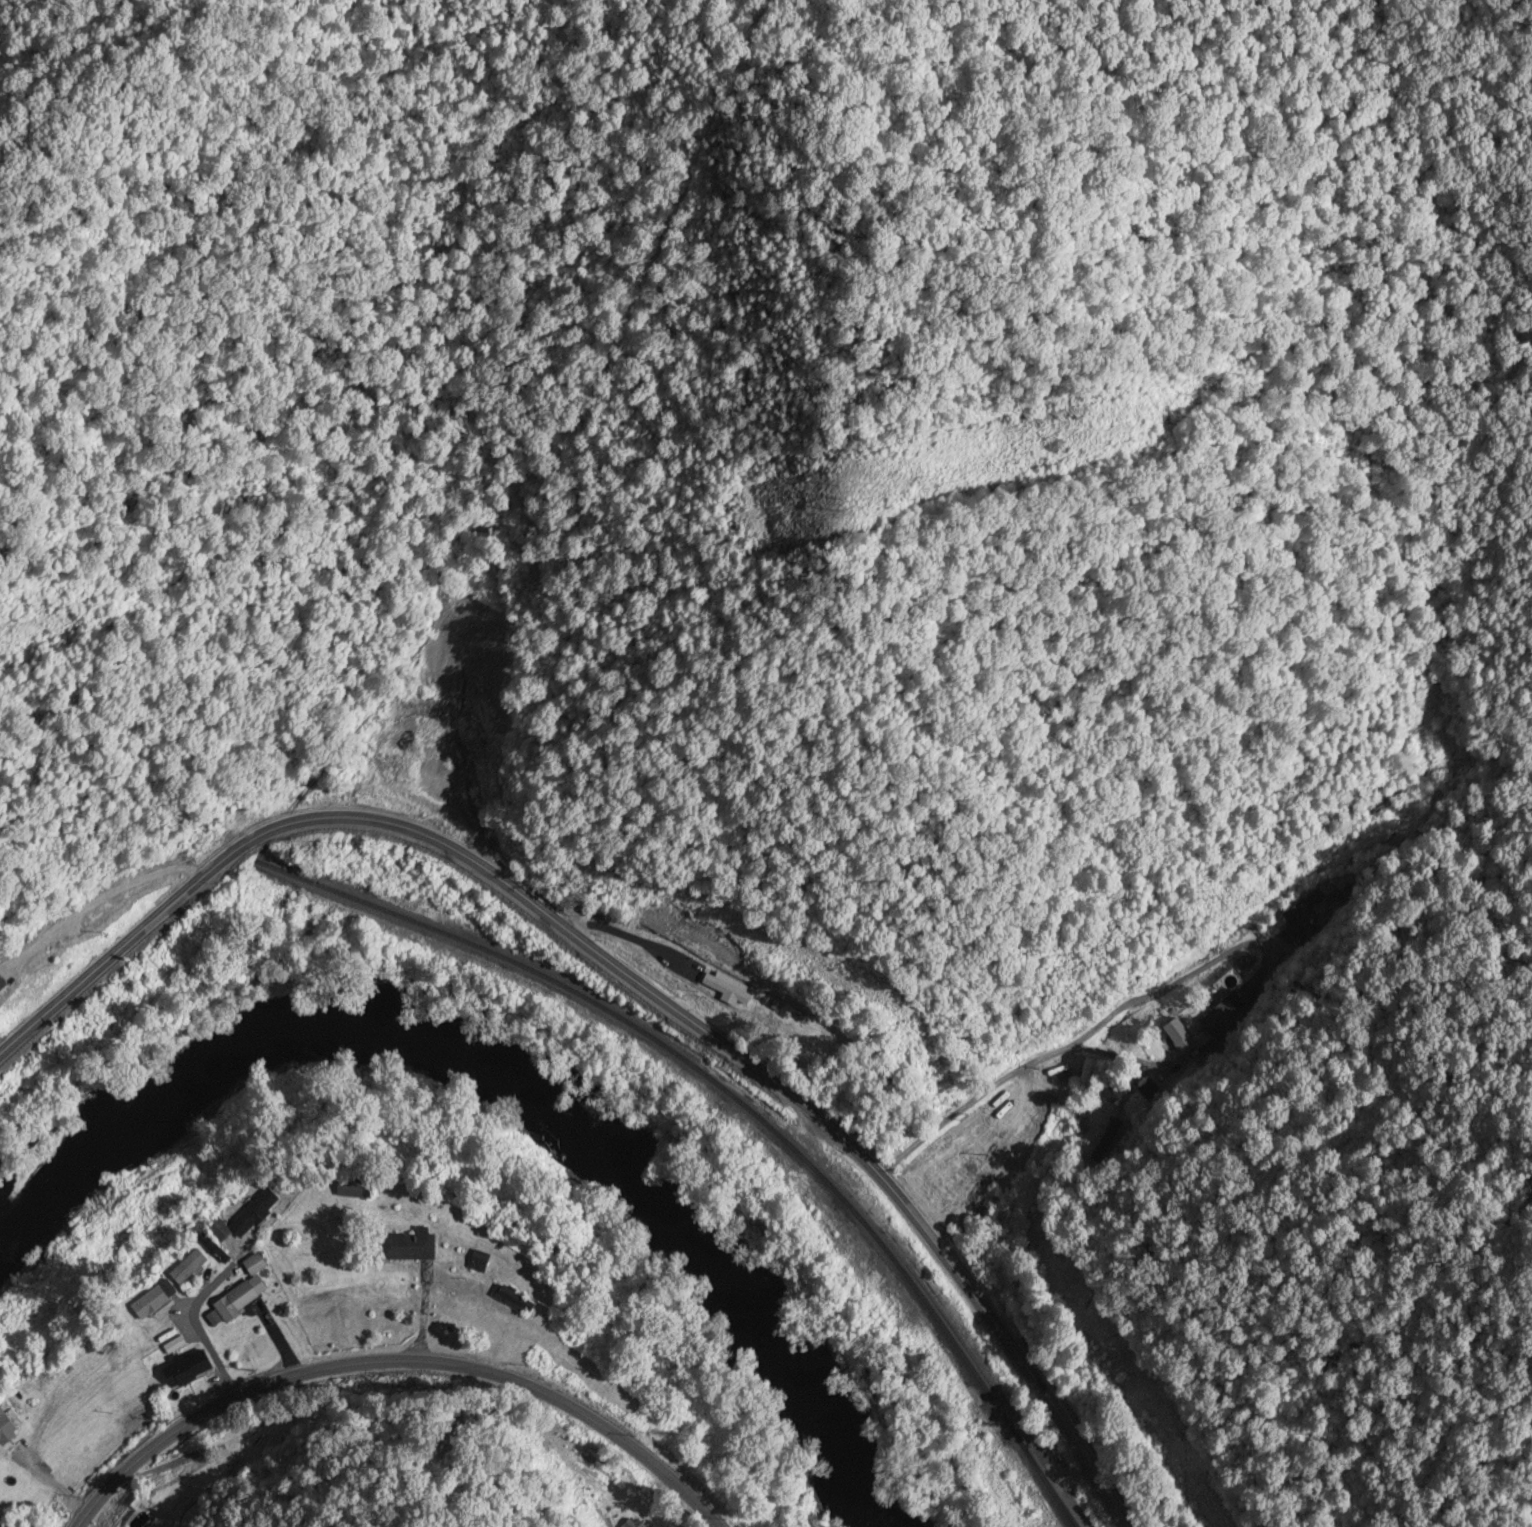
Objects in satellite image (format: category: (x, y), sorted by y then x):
power tower: (865, 496)
building: (379, 781)
building: (1388, 804)
building: (1279, 867)
building: (1299, 922)
road: (626, 974)
road: (1136, 995)
road: (1237, 1004)
building: (1223, 1018)
building: (1183, 1037)
river: (494, 1080)
building: (1147, 1090)
railway: (739, 1112)
building: (355, 1190)
building: (257, 1213)
building: (223, 1233)
building: (413, 1247)
building: (216, 1252)
building: (481, 1263)
building: (256, 1265)
building: (191, 1268)
building: (154, 1302)
building: (238, 1302)
building: (516, 1302)
building: (175, 1347)
road: (391, 1362)
building: (190, 1370)
building: (84, 1376)
building: (9, 1425)

